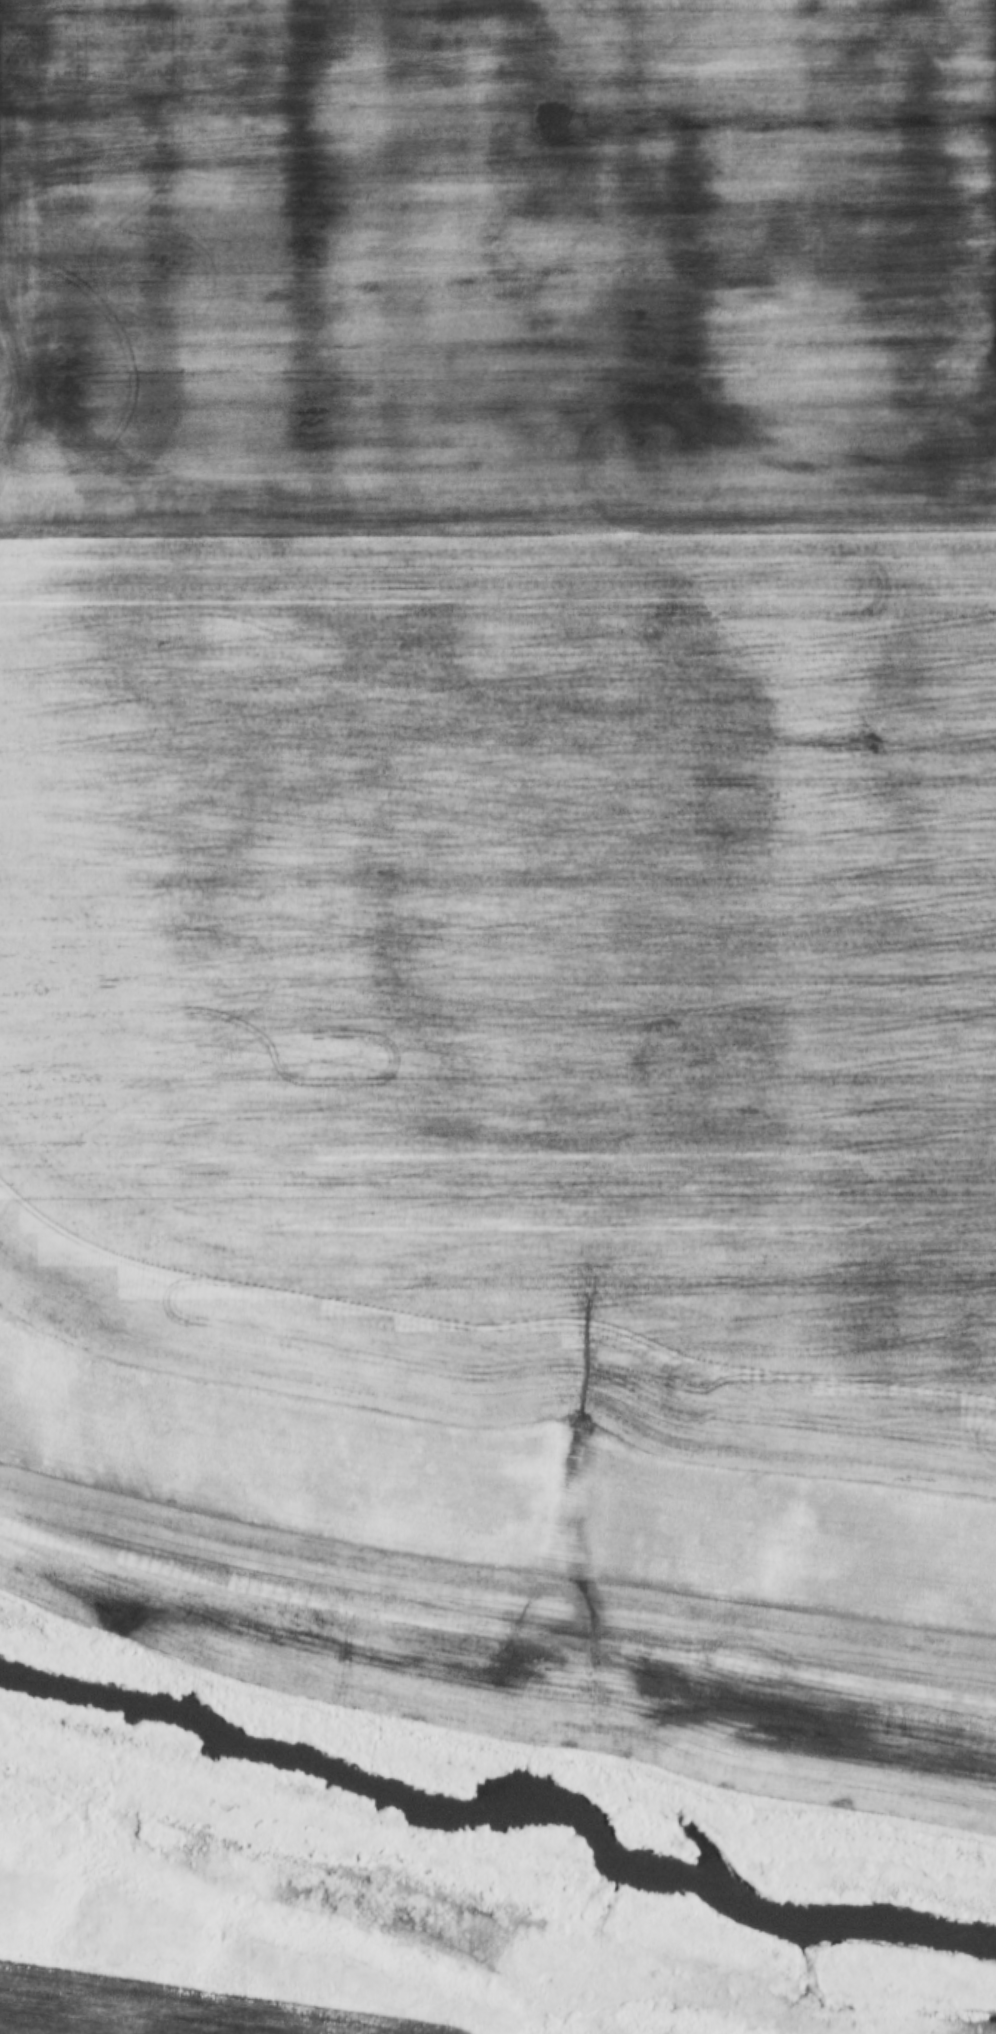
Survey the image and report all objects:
river: (504, 1804)

